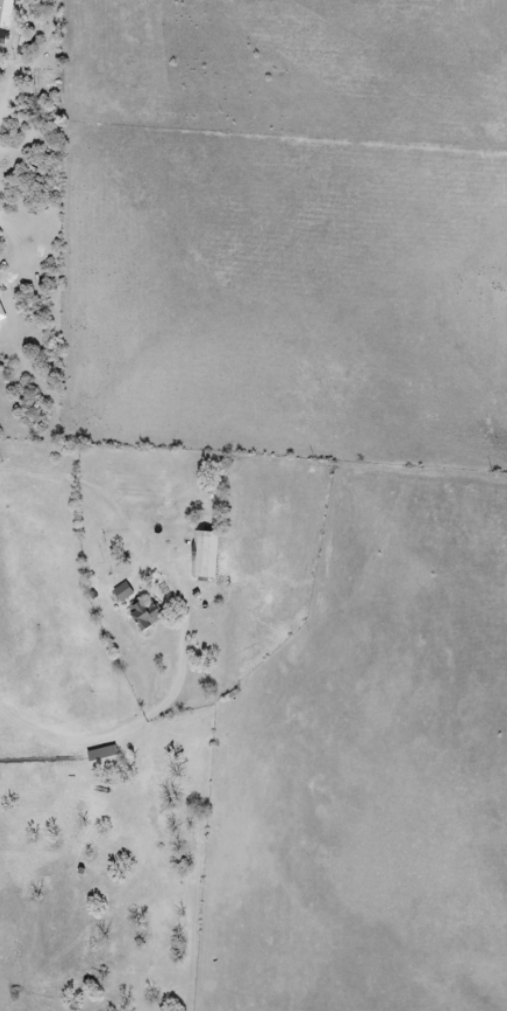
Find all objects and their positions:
building: (7, 12)
road: (149, 407)
building: (201, 556)
building: (119, 593)
building: (141, 615)
building: (101, 759)

